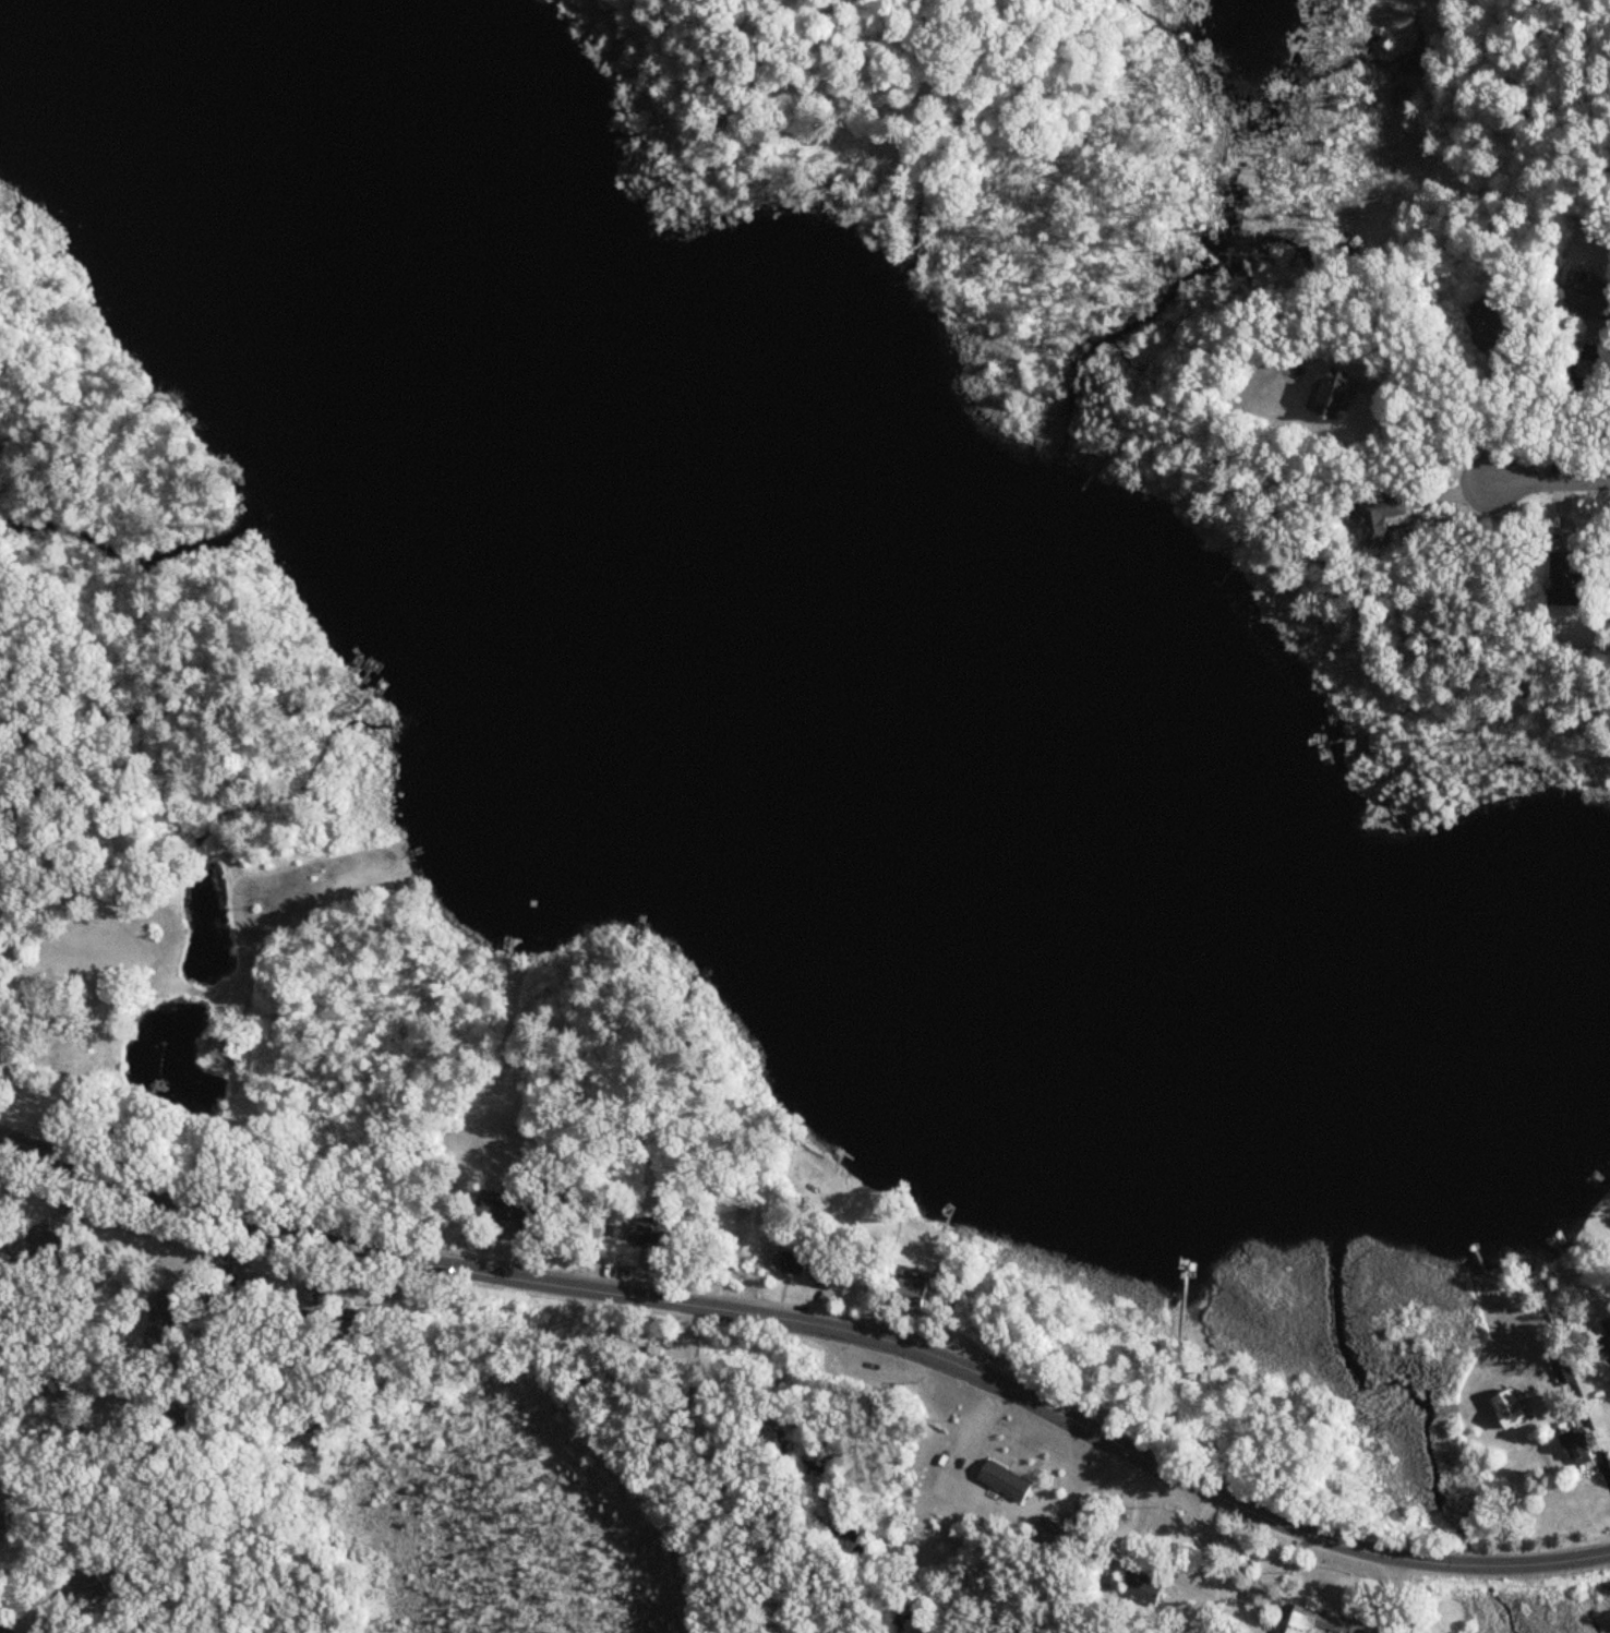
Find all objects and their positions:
building: (1590, 298)
building: (1491, 322)
road: (1579, 385)
building: (1339, 394)
road: (1422, 434)
road: (1550, 480)
building: (1383, 517)
building: (1570, 577)
building: (98, 901)
building: (516, 1215)
building: (644, 1230)
building: (39, 1245)
building: (755, 1251)
building: (793, 1261)
building: (833, 1274)
building: (913, 1288)
building: (166, 1314)
road: (818, 1321)
building: (1608, 1326)
road: (1600, 1356)
building: (1514, 1409)
building: (1578, 1441)
building: (1007, 1481)
building: (5, 1521)
building: (1054, 1535)
road: (1216, 1565)
building: (91, 1588)
building: (1145, 1588)
road: (1401, 1596)
building: (1330, 1623)

